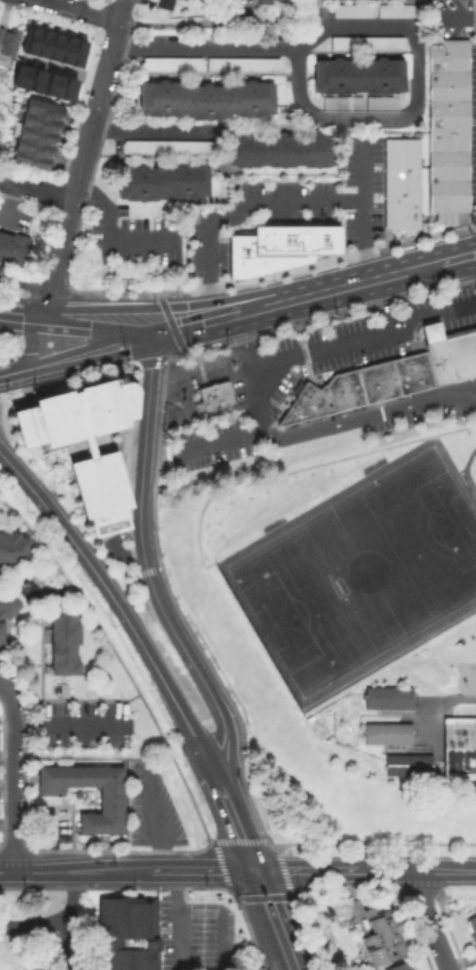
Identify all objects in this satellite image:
building: (184, 1)
building: (269, 3)
building: (164, 5)
building: (351, 9)
building: (396, 9)
road: (77, 10)
road: (121, 10)
road: (455, 15)
road: (190, 23)
building: (27, 39)
building: (364, 42)
building: (40, 43)
building: (8, 44)
building: (51, 46)
building: (63, 49)
building: (75, 52)
building: (446, 54)
building: (240, 64)
building: (169, 65)
road: (105, 68)
road: (60, 69)
building: (357, 74)
building: (19, 76)
building: (33, 80)
building: (446, 84)
building: (50, 85)
building: (65, 89)
building: (206, 97)
building: (340, 101)
building: (380, 101)
building: (47, 111)
building: (446, 114)
road: (339, 120)
building: (43, 124)
road: (151, 131)
building: (39, 137)
building: (446, 139)
building: (278, 149)
building: (35, 150)
building: (168, 150)
building: (400, 156)
road: (82, 158)
building: (31, 163)
building: (160, 180)
building: (445, 183)
road: (35, 190)
building: (400, 190)
road: (358, 209)
building: (400, 211)
road: (243, 212)
building: (400, 223)
road: (473, 232)
building: (329, 235)
road: (107, 236)
building: (289, 242)
building: (14, 250)
road: (458, 256)
road: (57, 257)
building: (246, 261)
road: (377, 277)
road: (23, 284)
road: (138, 291)
road: (51, 298)
road: (276, 301)
road: (175, 305)
traffic signals: (185, 305)
road: (377, 305)
road: (18, 310)
road: (286, 313)
road: (169, 322)
road: (193, 323)
road: (90, 327)
traffic signals: (148, 335)
road: (363, 337)
road: (30, 342)
road: (82, 351)
building: (450, 355)
road: (151, 362)
road: (197, 365)
road: (249, 370)
road: (9, 371)
building: (423, 372)
building: (406, 376)
building: (378, 383)
building: (352, 390)
building: (337, 394)
building: (215, 398)
road: (135, 399)
building: (326, 402)
building: (120, 405)
building: (302, 407)
road: (368, 418)
road: (221, 439)
road: (156, 452)
road: (141, 453)
building: (97, 465)
road: (14, 472)
road: (464, 472)
road: (169, 481)
building: (14, 551)
road: (146, 570)
park: (366, 579)
building: (8, 608)
road: (40, 621)
road: (124, 622)
road: (6, 629)
building: (1, 638)
building: (65, 645)
road: (19, 667)
road: (191, 667)
road: (126, 675)
road: (3, 686)
building: (386, 696)
road: (75, 701)
road: (71, 727)
building: (385, 732)
building: (460, 749)
building: (406, 763)
road: (12, 777)
building: (111, 806)
road: (228, 816)
road: (223, 841)
road: (252, 841)
road: (272, 854)
road: (6, 867)
road: (80, 868)
road: (200, 868)
traffic signals: (251, 868)
road: (301, 869)
road: (414, 869)
road: (193, 879)
road: (271, 918)
road: (67, 919)
road: (429, 920)
road: (33, 927)
road: (178, 933)
building: (472, 933)
building: (128, 934)
building: (381, 938)
building: (403, 967)

